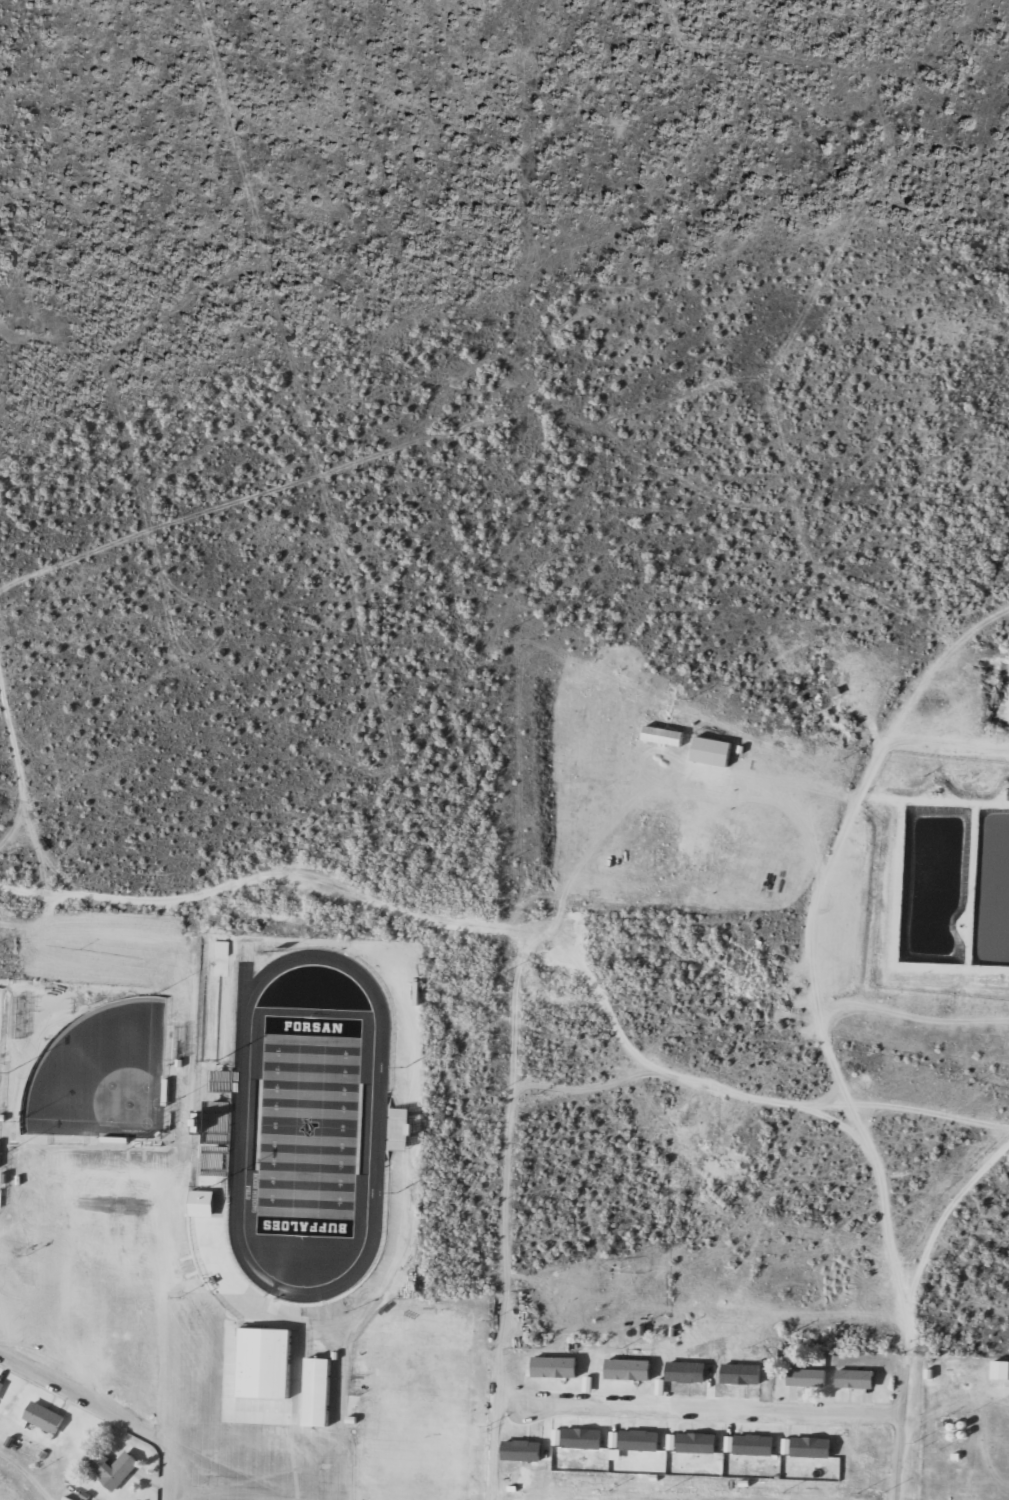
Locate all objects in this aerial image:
road: (506, 928)
building: (70, 938)
park: (2, 1026)
park: (104, 1073)
track: (243, 1122)
park: (313, 1125)
building: (402, 1128)
building: (204, 1203)
building: (711, 1368)
building: (807, 1376)
building: (857, 1378)
building: (2, 1387)
building: (319, 1392)
road: (671, 1403)
building: (46, 1416)
road: (114, 1421)
road: (902, 1448)
building: (114, 1466)

